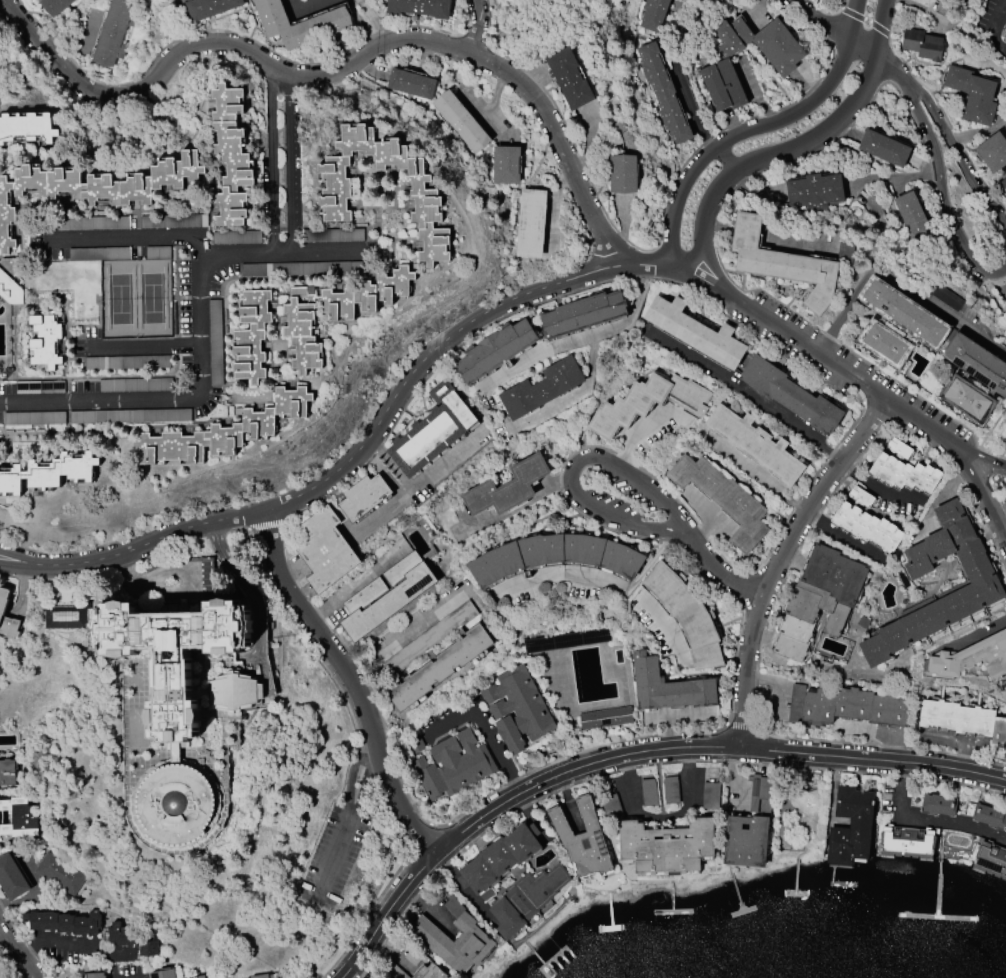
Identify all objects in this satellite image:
building: (718, 1)
building: (55, 6)
building: (420, 7)
building: (210, 8)
building: (653, 14)
road: (855, 16)
road: (374, 21)
road: (819, 21)
building: (299, 24)
parking lot: (992, 24)
road: (479, 28)
road: (879, 29)
road: (992, 29)
building: (113, 32)
building: (1004, 38)
road: (863, 45)
building: (922, 45)
building: (783, 62)
road: (893, 69)
road: (343, 70)
building: (568, 79)
building: (411, 83)
building: (663, 93)
building: (973, 95)
road: (693, 109)
road: (917, 113)
building: (462, 121)
building: (26, 127)
road: (753, 128)
road: (814, 139)
building: (884, 148)
building: (993, 152)
building: (231, 156)
road: (272, 158)
road: (725, 159)
road: (290, 163)
building: (506, 164)
building: (623, 174)
building: (1003, 183)
building: (94, 186)
building: (815, 192)
building: (425, 196)
building: (912, 218)
building: (173, 222)
building: (531, 223)
building: (237, 238)
road: (283, 252)
road: (694, 256)
building: (782, 263)
building: (301, 269)
road: (714, 269)
road: (898, 279)
road: (702, 280)
building: (1003, 288)
building: (10, 290)
building: (1005, 305)
building: (903, 313)
building: (329, 314)
building: (583, 314)
building: (695, 332)
road: (199, 335)
building: (250, 336)
road: (581, 337)
building: (45, 341)
road: (142, 342)
building: (884, 344)
road: (810, 347)
building: (496, 351)
building: (119, 363)
building: (977, 363)
building: (135, 385)
building: (542, 388)
road: (573, 394)
road: (745, 394)
building: (790, 395)
building: (966, 399)
building: (648, 403)
building: (143, 416)
road: (913, 418)
building: (222, 431)
building: (432, 431)
road: (368, 443)
building: (755, 444)
building: (899, 448)
road: (970, 457)
road: (574, 468)
building: (49, 473)
road: (383, 473)
building: (904, 473)
road: (424, 479)
road: (977, 484)
building: (507, 487)
road: (877, 489)
building: (861, 496)
building: (364, 497)
building: (723, 499)
road: (382, 513)
building: (868, 527)
road: (842, 538)
building: (325, 550)
building: (555, 556)
road: (14, 559)
road: (781, 561)
road: (14, 566)
road: (725, 577)
road: (597, 581)
building: (984, 583)
road: (244, 584)
road: (357, 585)
road: (193, 588)
building: (387, 595)
building: (819, 600)
building: (3, 604)
building: (982, 614)
building: (686, 615)
building: (64, 616)
road: (417, 621)
road: (663, 628)
road: (980, 632)
building: (973, 658)
building: (439, 668)
road: (352, 682)
road: (780, 682)
building: (667, 687)
building: (796, 704)
building: (854, 707)
building: (180, 708)
building: (517, 709)
road: (673, 716)
building: (605, 718)
road: (655, 718)
building: (963, 719)
road: (482, 726)
road: (873, 759)
building: (453, 763)
building: (7, 773)
road: (352, 776)
road: (630, 783)
road: (362, 790)
building: (671, 790)
building: (649, 792)
building: (711, 798)
road: (507, 802)
road: (569, 802)
building: (938, 805)
building: (612, 807)
road: (687, 807)
park: (800, 815)
building: (989, 816)
building: (17, 819)
road: (929, 820)
building: (749, 828)
building: (851, 828)
building: (583, 840)
building: (907, 842)
building: (666, 847)
building: (499, 860)
building: (990, 860)
road: (333, 861)
building: (60, 873)
building: (12, 879)
building: (527, 899)
road: (430, 913)
building: (62, 922)
building: (473, 938)
building: (132, 939)
road: (65, 951)
road: (17, 955)
road: (393, 956)
building: (429, 972)
building: (162, 974)
building: (96, 975)
building: (262, 976)
road: (136, 977)
building: (199, 977)
building: (214, 977)

